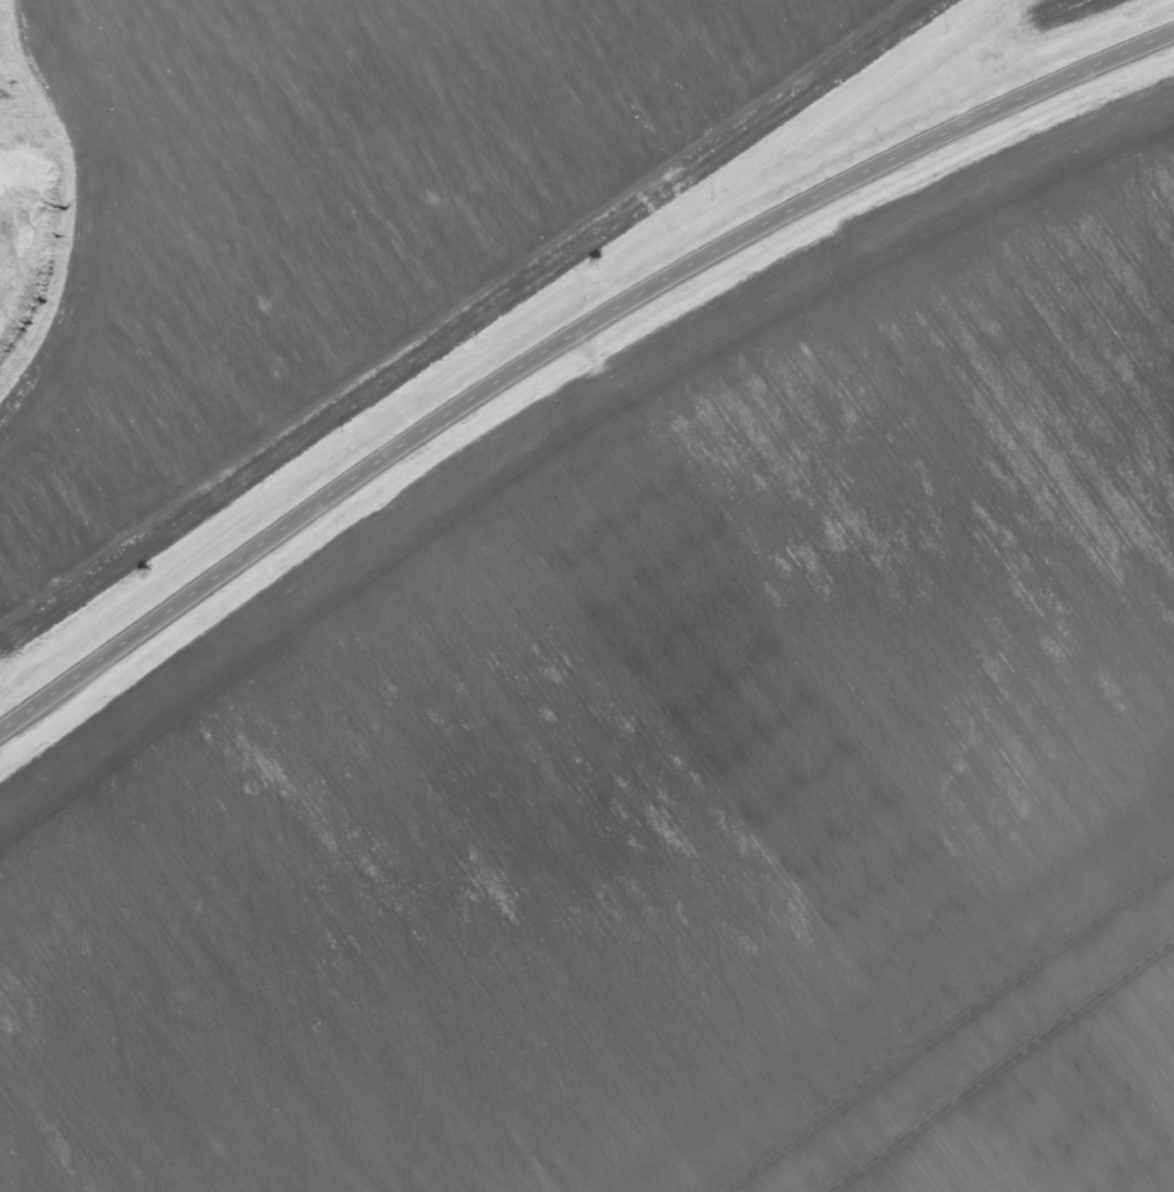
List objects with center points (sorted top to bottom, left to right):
road: (566, 349)

